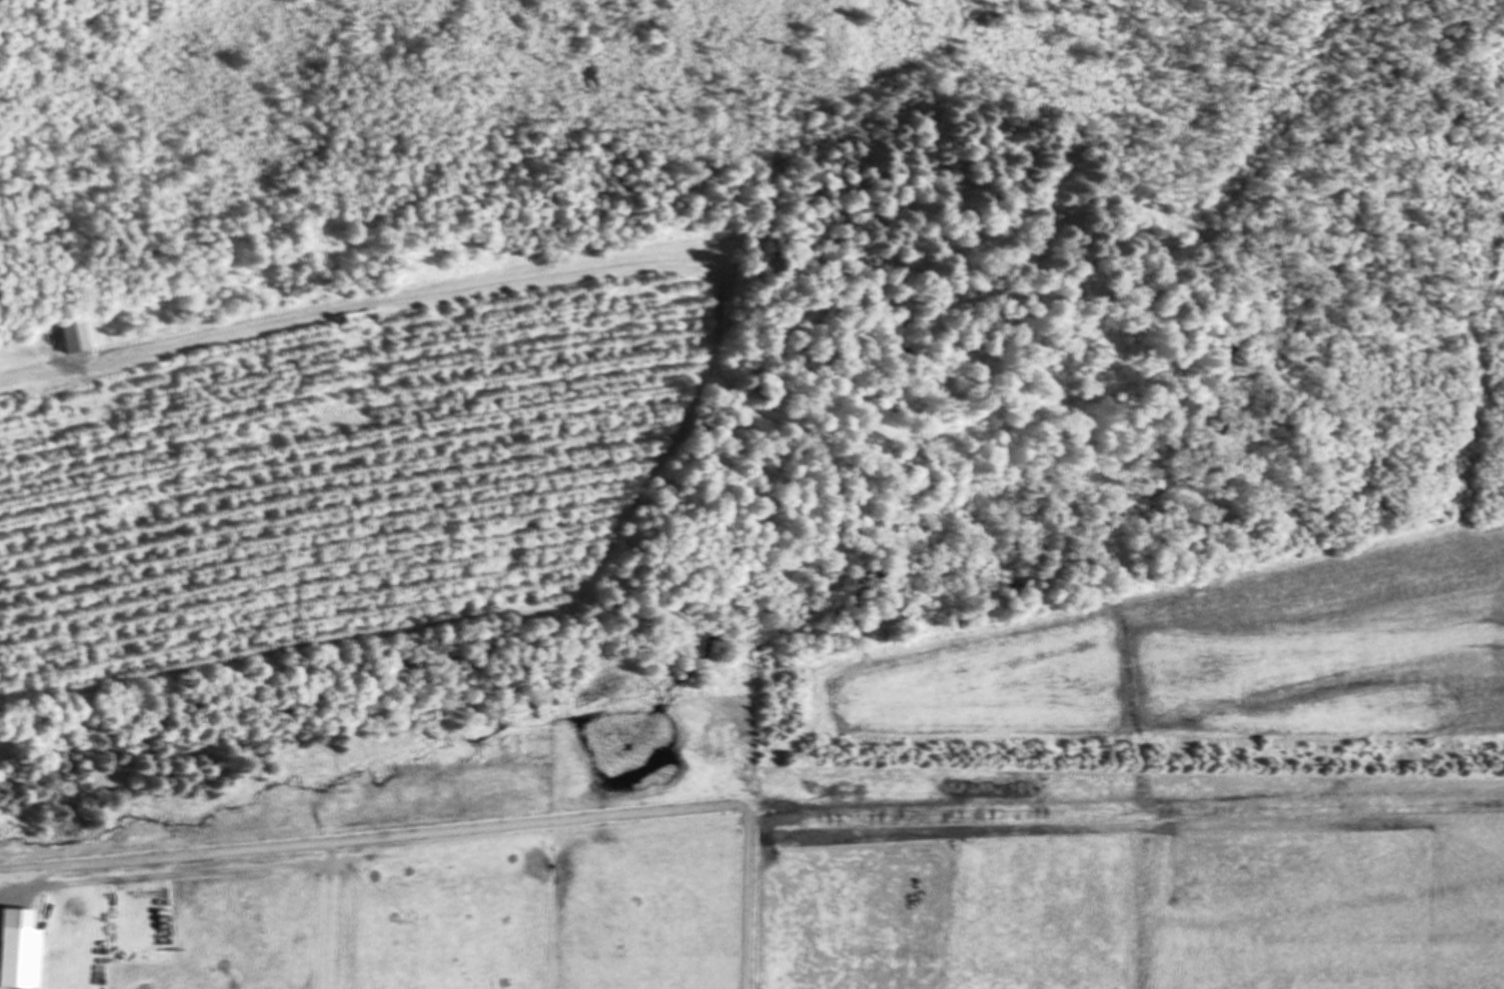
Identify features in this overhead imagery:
building: (826, 788)
road: (2, 902)
building: (23, 950)

